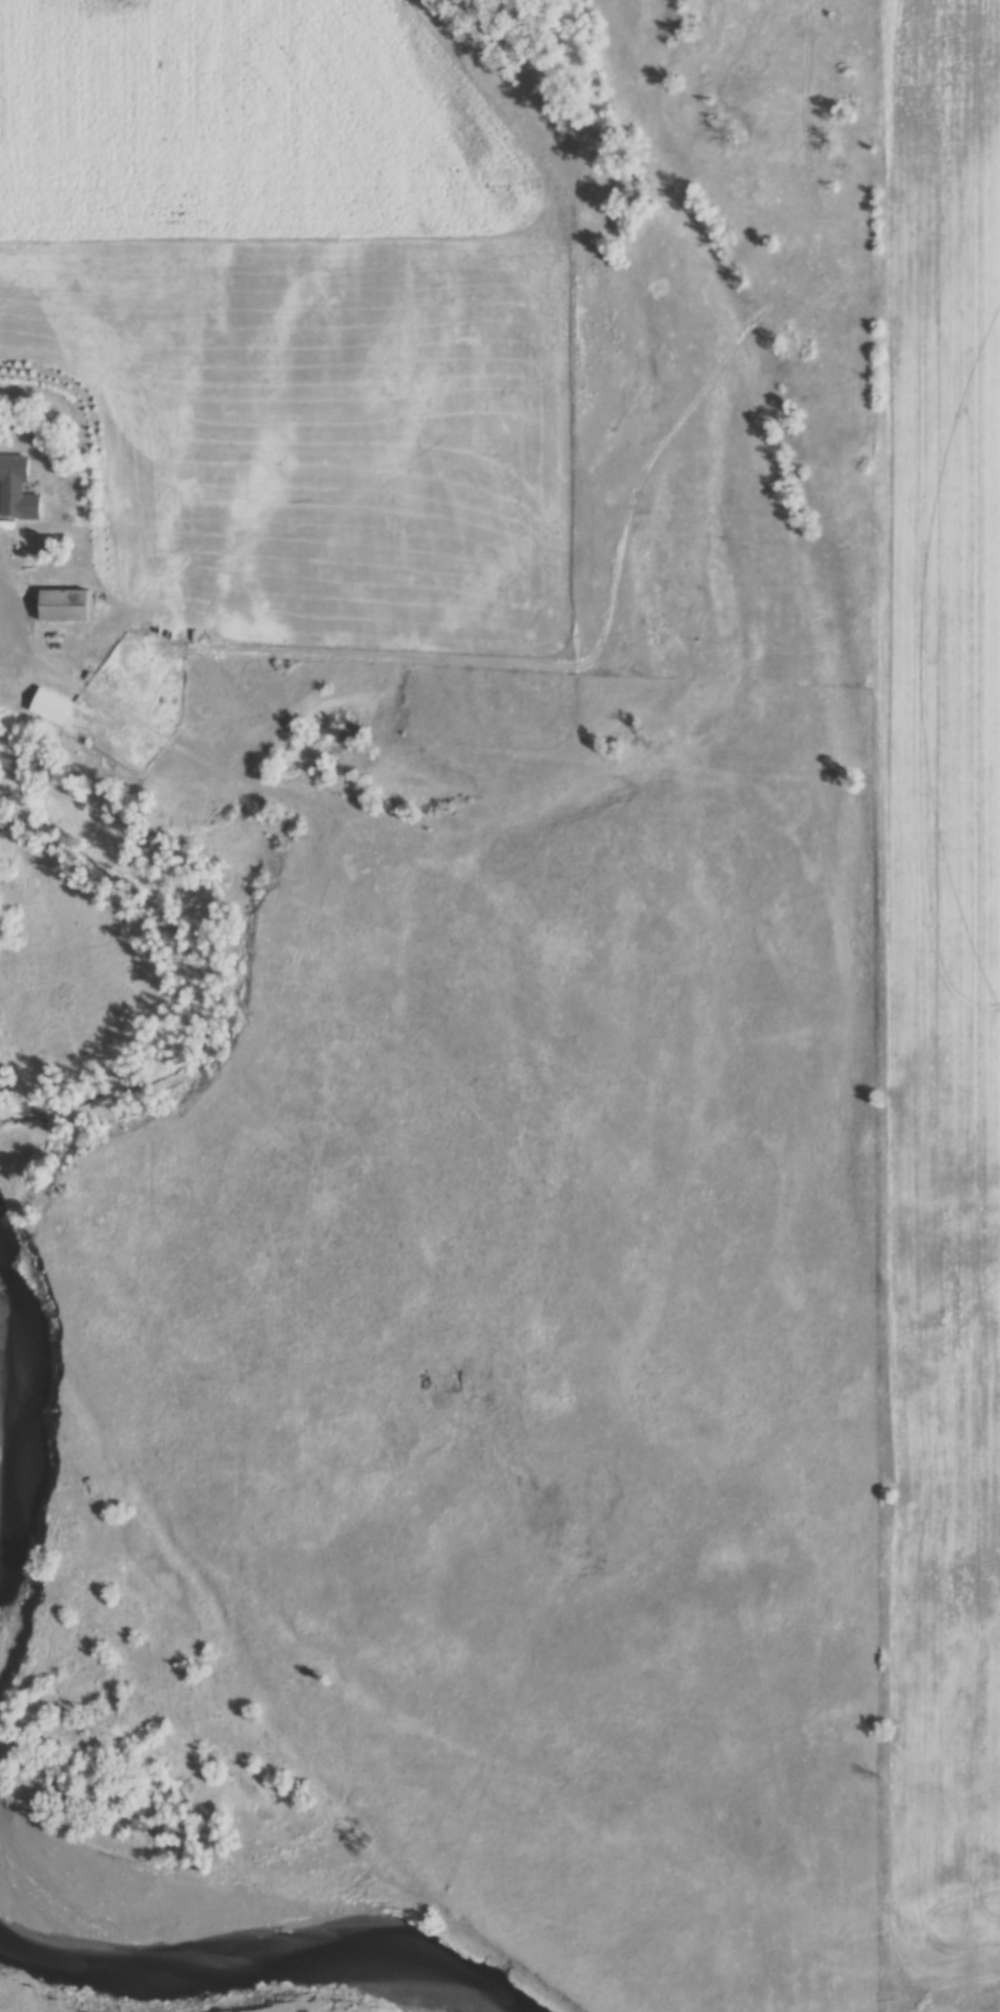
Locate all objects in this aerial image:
building: (17, 488)
building: (64, 604)

